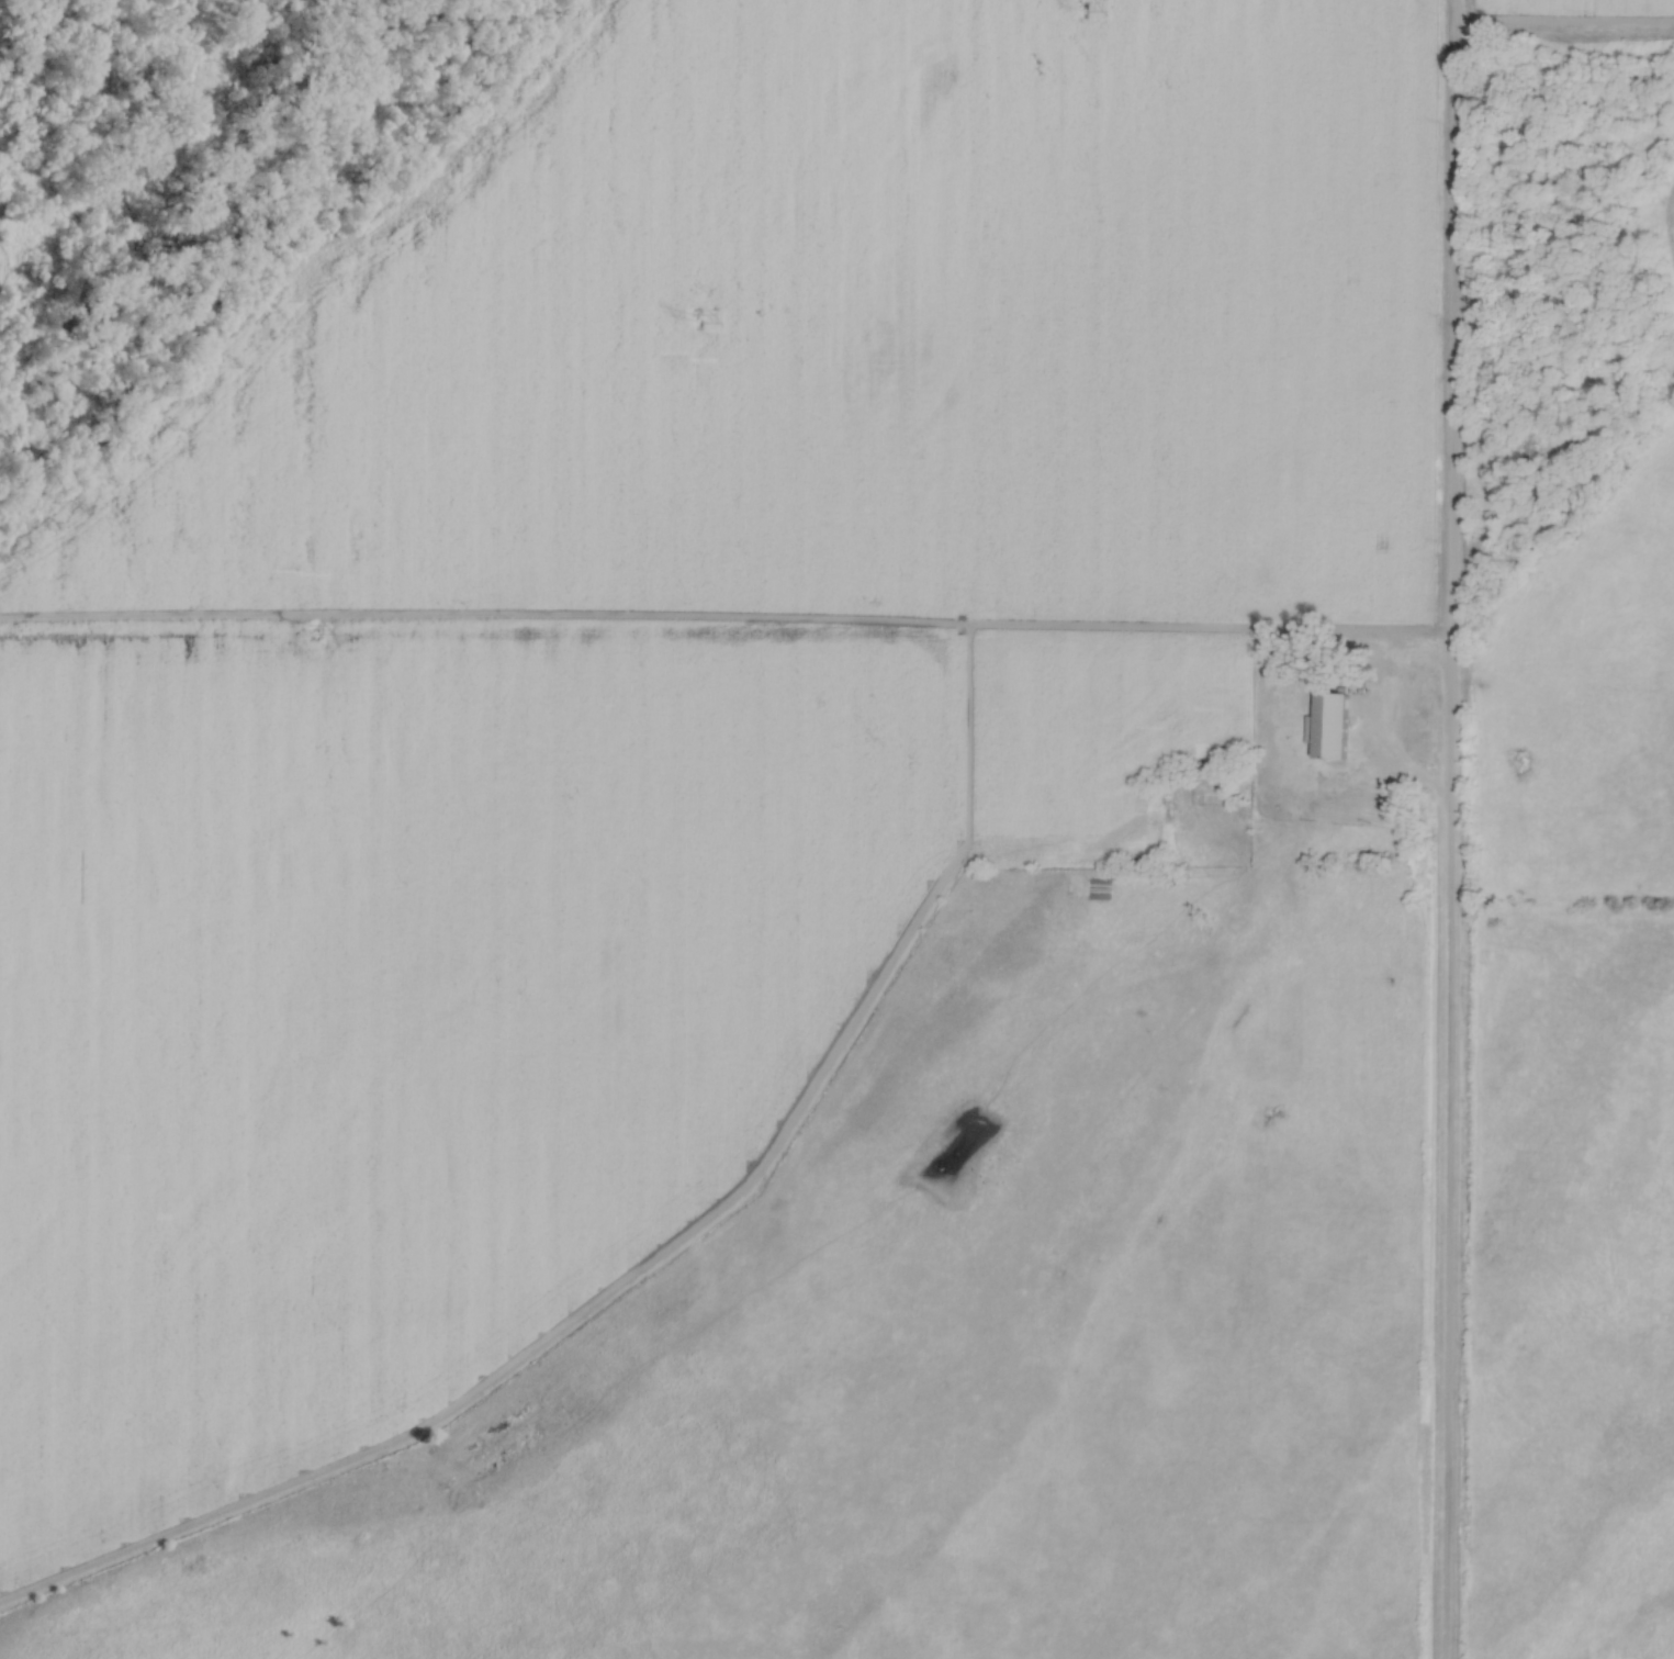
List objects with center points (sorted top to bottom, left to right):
power tower: (1081, 7)
power tower: (700, 314)
road: (724, 629)
power tower: (310, 632)
building: (1255, 787)
building: (1273, 814)
road: (1448, 829)

